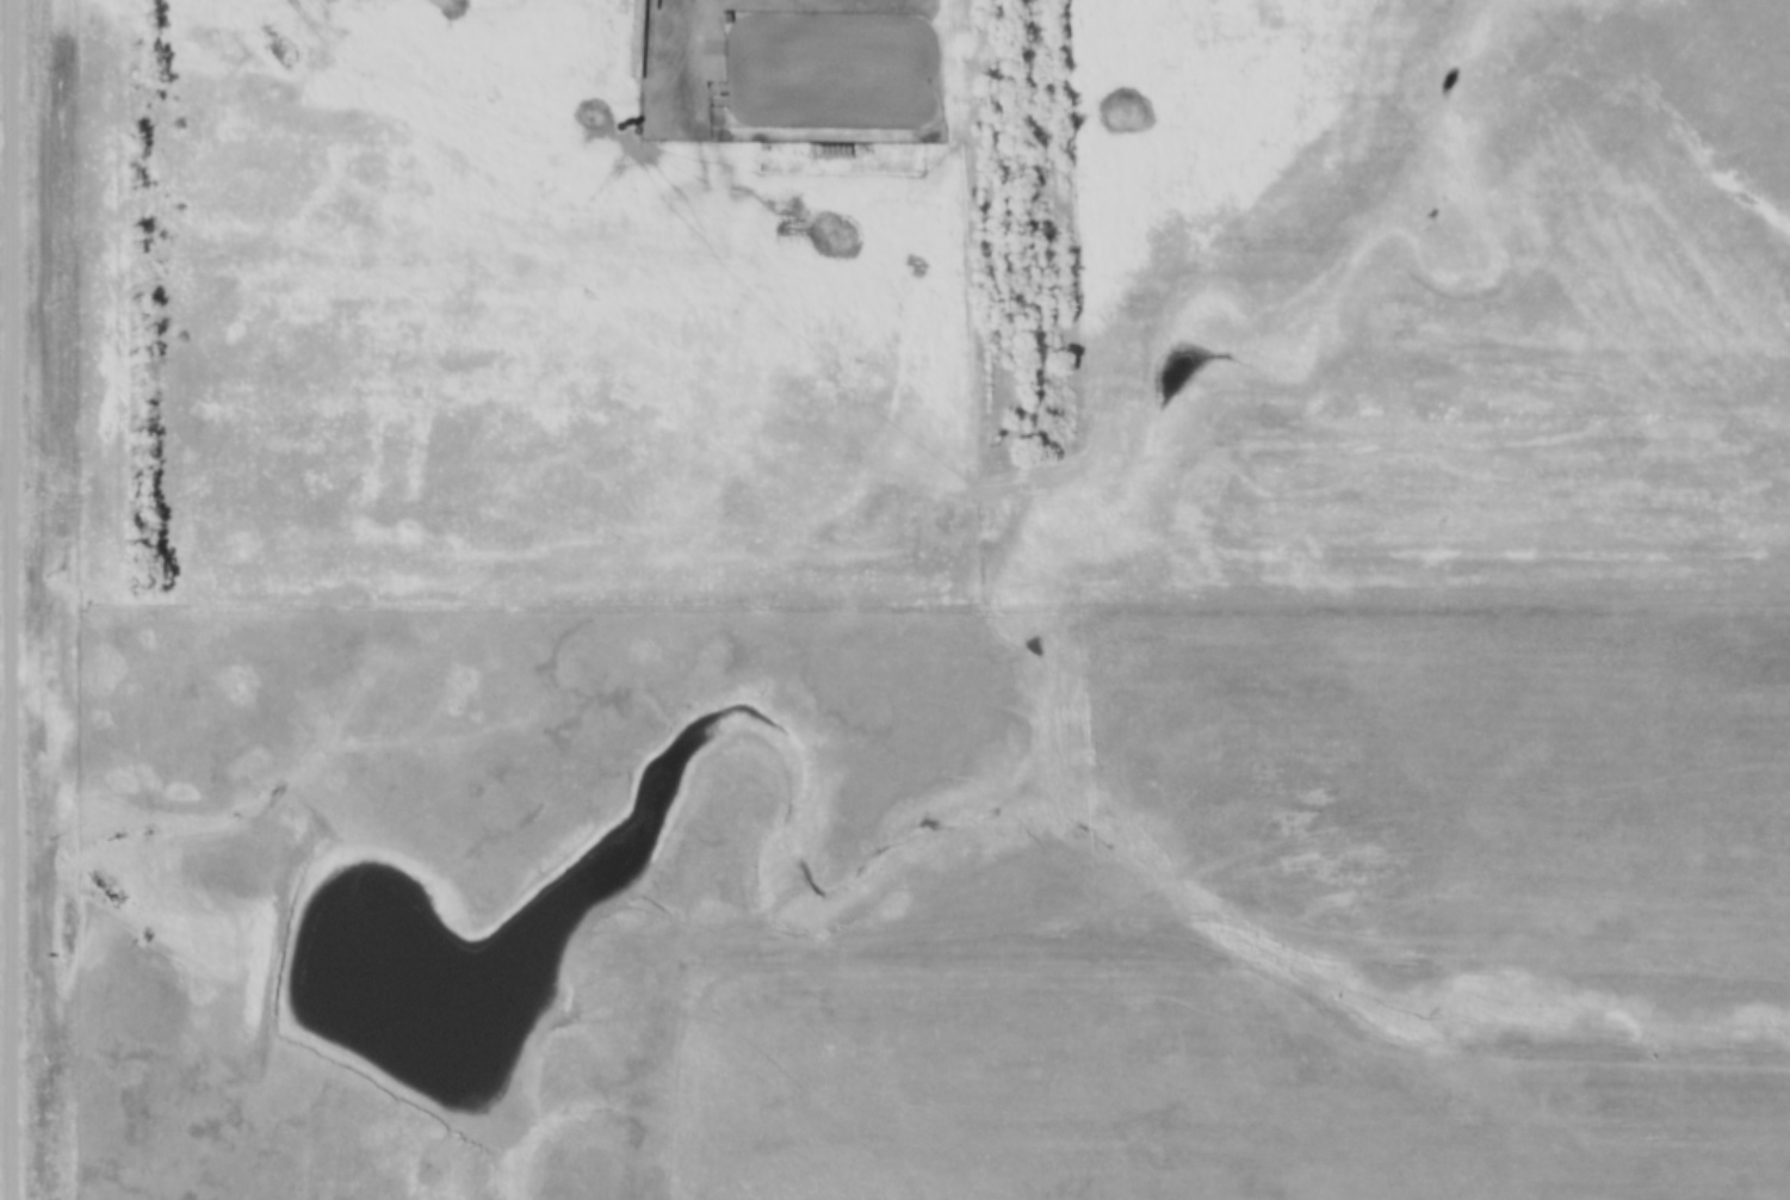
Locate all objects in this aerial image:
road: (7, 599)
dam: (267, 952)

